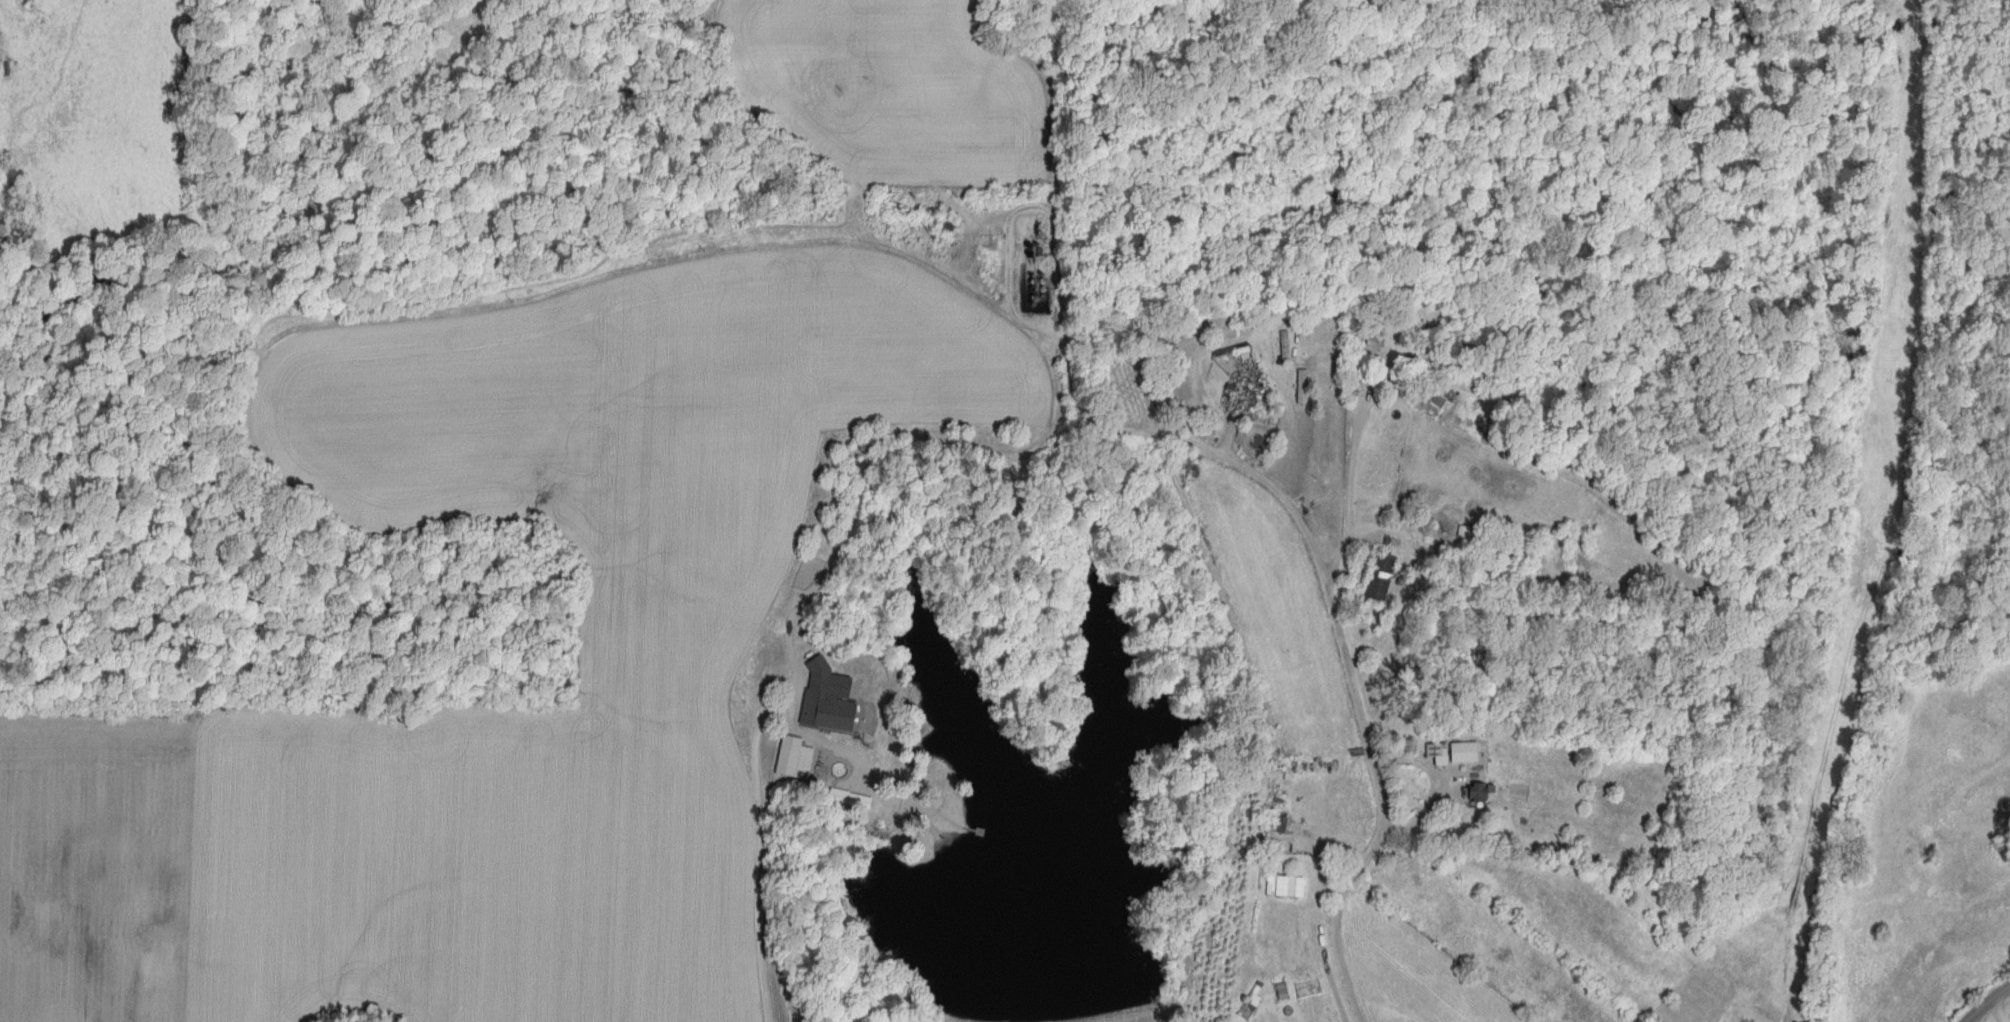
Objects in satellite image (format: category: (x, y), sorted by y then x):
road: (1026, 209)
building: (947, 224)
building: (1371, 332)
building: (1288, 347)
building: (1233, 354)
building: (1445, 398)
building: (1268, 414)
road: (1350, 484)
building: (1382, 579)
road: (1334, 614)
building: (830, 713)
building: (1439, 750)
building: (1467, 752)
building: (797, 758)
building: (1481, 792)
building: (904, 801)
building: (1278, 824)
road: (761, 859)
building: (1290, 887)
road: (1985, 1002)
road: (2000, 1007)

